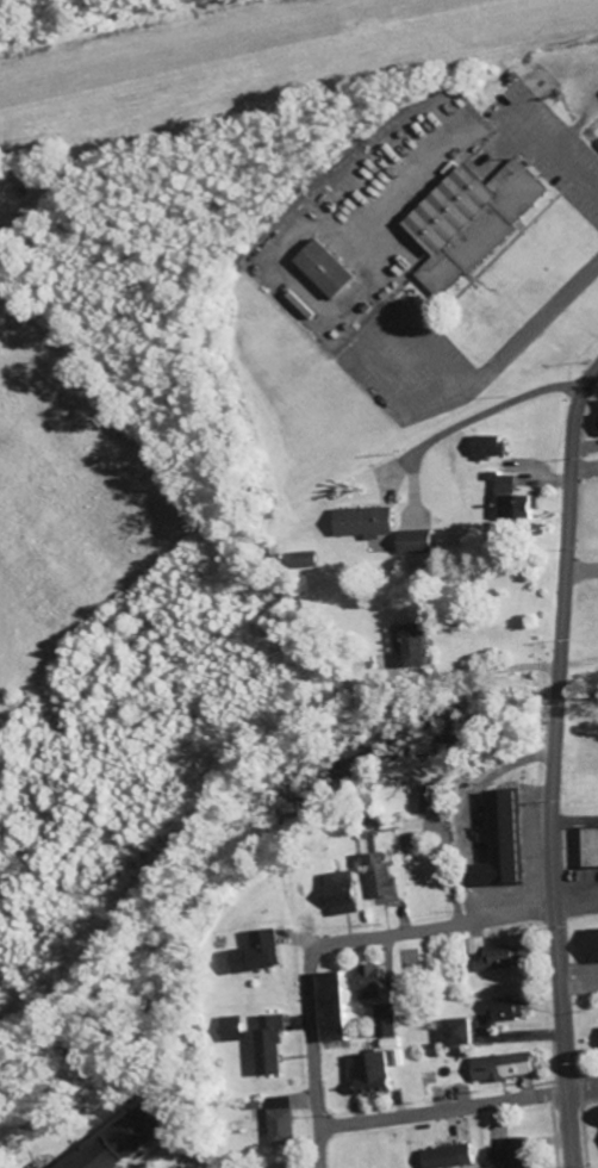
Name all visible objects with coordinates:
building: (474, 220)
building: (329, 268)
building: (597, 416)
building: (490, 446)
building: (521, 507)
building: (367, 522)
building: (418, 542)
building: (419, 645)
road: (552, 763)
building: (500, 840)
building: (592, 847)
building: (384, 877)
building: (345, 893)
road: (436, 926)
building: (596, 944)
building: (478, 945)
building: (262, 953)
building: (502, 959)
building: (373, 982)
building: (337, 1007)
building: (509, 1009)
building: (387, 1020)
building: (232, 1029)
building: (462, 1032)
building: (273, 1044)
road: (313, 1055)
building: (503, 1066)
building: (373, 1073)
road: (457, 1108)
building: (282, 1122)
building: (130, 1139)
building: (510, 1154)
building: (450, 1156)
building: (286, 1164)

